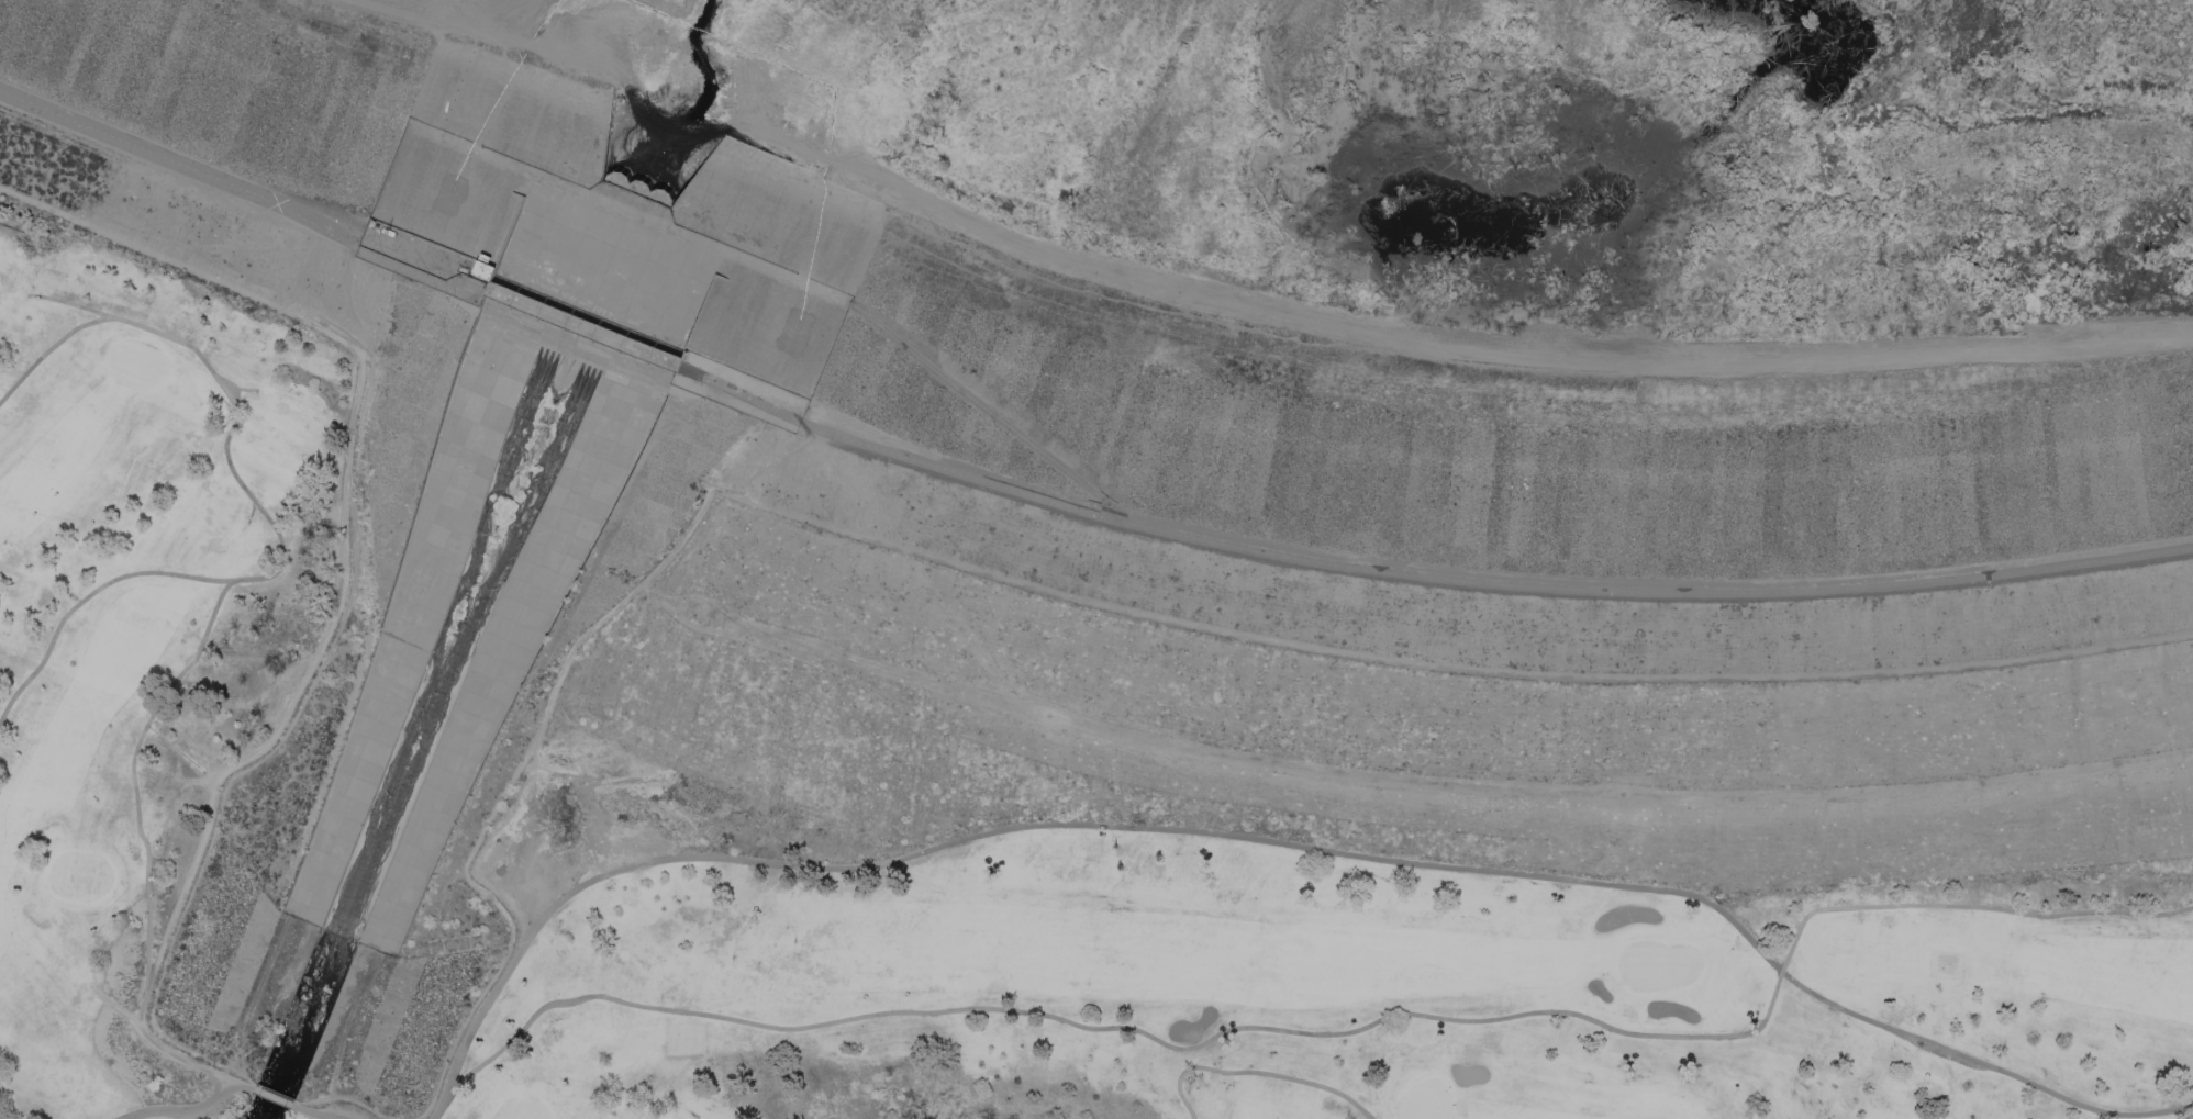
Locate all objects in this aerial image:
river: (684, 93)
dam: (1009, 172)
road: (245, 189)
building: (371, 222)
building: (482, 267)
storage tank: (463, 269)
river: (601, 276)
road: (318, 288)
road: (356, 291)
road: (74, 303)
road: (1246, 305)
road: (582, 326)
park: (136, 363)
dam: (190, 393)
road: (738, 393)
park: (310, 400)
road: (991, 413)
dam: (2044, 423)
park: (253, 432)
park: (286, 450)
road: (771, 459)
park: (279, 478)
park: (975, 558)
road: (279, 568)
road: (354, 578)
road: (1487, 583)
road: (87, 596)
dam: (465, 616)
park: (953, 670)
dam: (1474, 783)
road: (1272, 842)
park: (79, 875)
dam: (302, 919)
park: (1863, 937)
road: (154, 961)
park: (1657, 965)
park: (566, 986)
road: (256, 992)
road: (348, 1020)
road: (1343, 1032)
park: (579, 1033)
road: (1258, 1071)
park: (1264, 1090)
road: (271, 1097)
park: (1424, 1100)
park: (1309, 1103)
building: (1926, 1105)
road: (8, 1108)
park: (67, 1108)
park: (523, 1109)
road: (181, 1110)
road: (311, 1112)
park: (1891, 1116)

